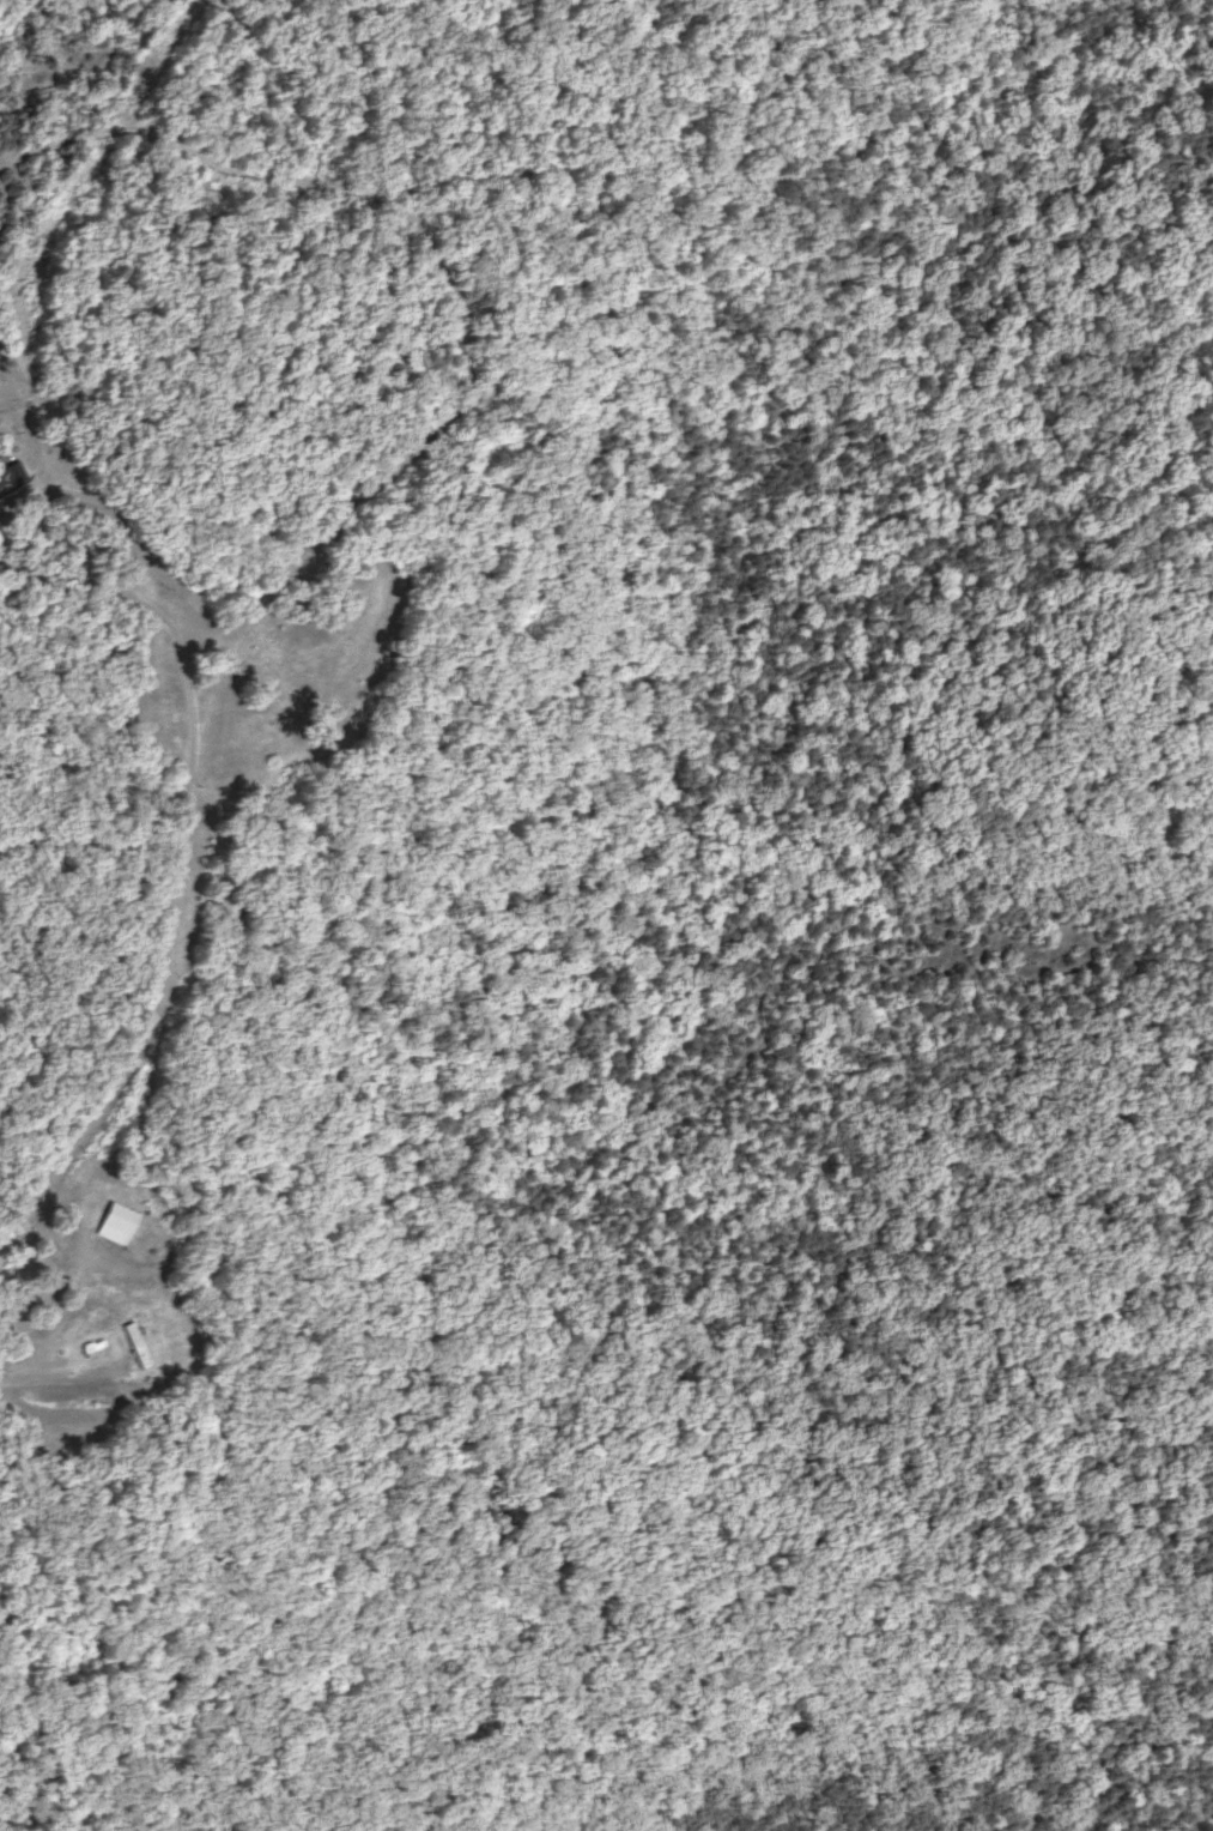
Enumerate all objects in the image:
building: (10, 473)
road: (176, 886)
building: (119, 1225)
building: (138, 1346)

